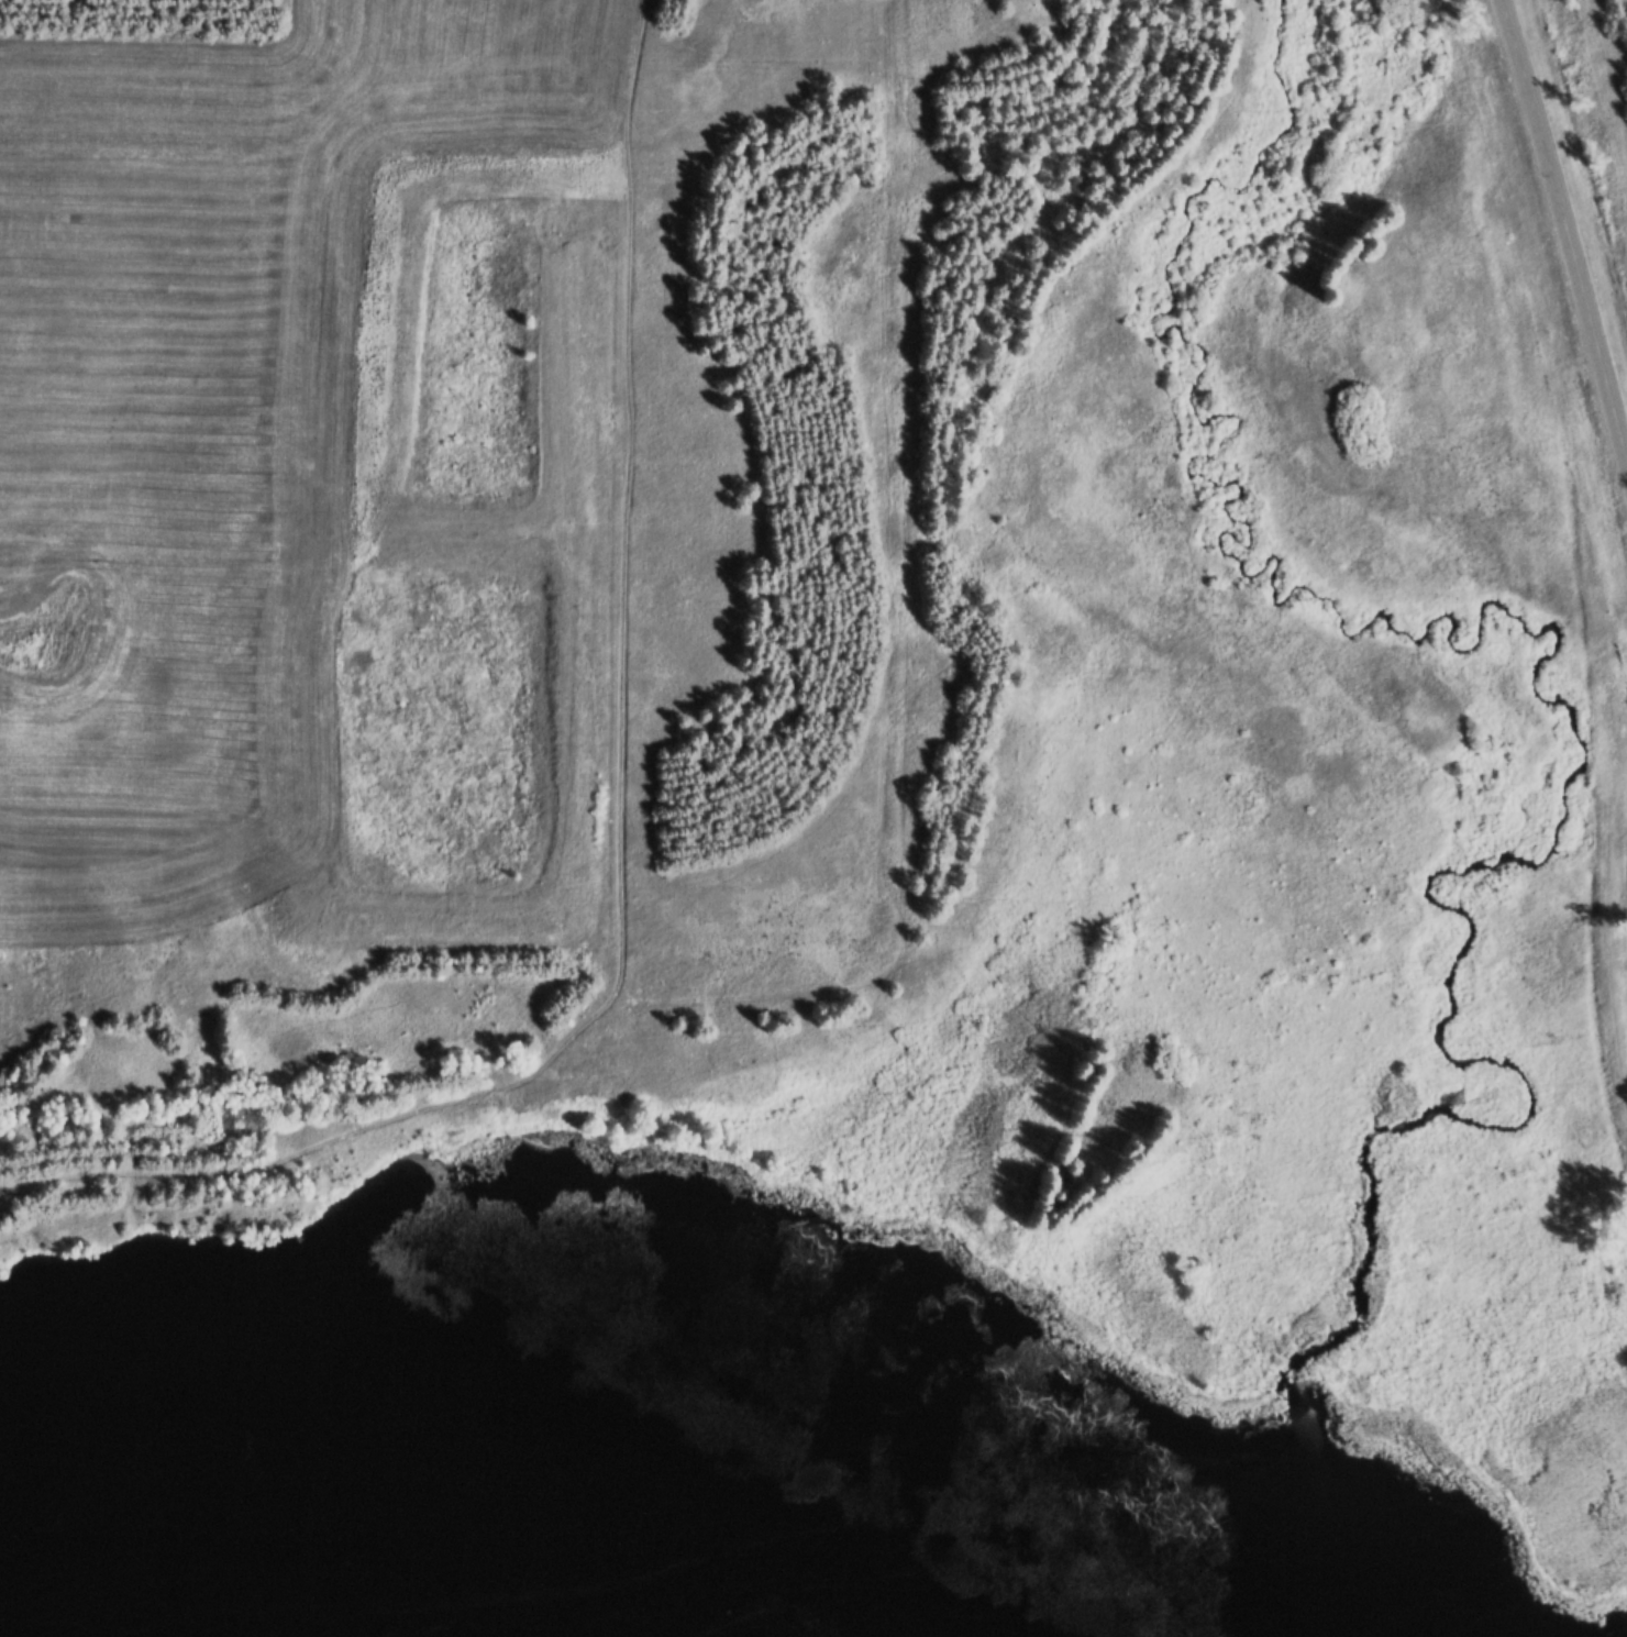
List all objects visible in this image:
road: (1571, 218)
river: (1360, 1537)

